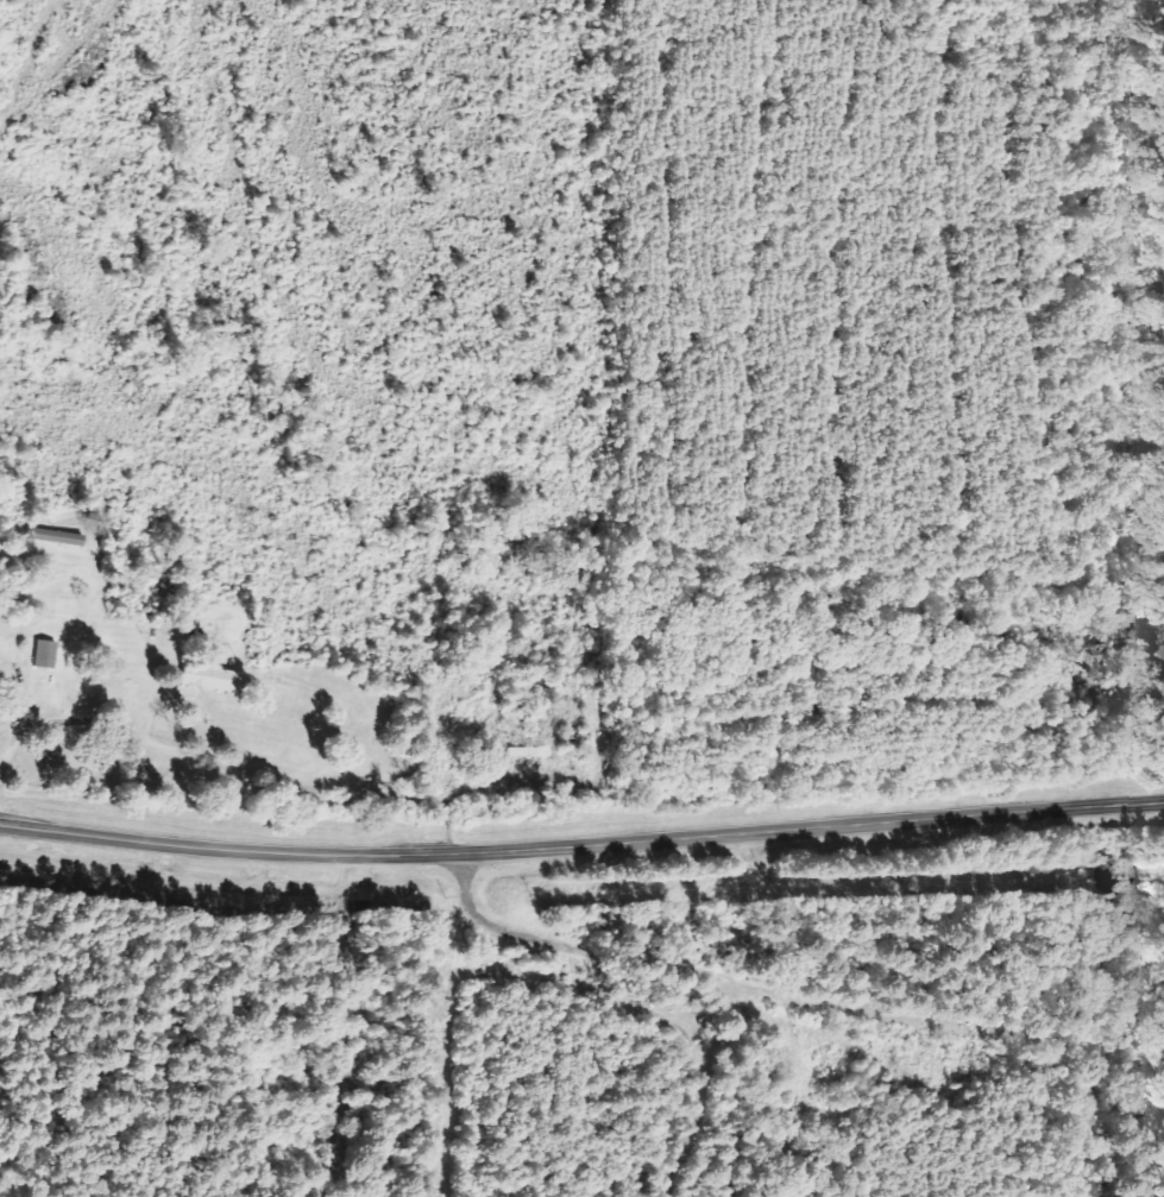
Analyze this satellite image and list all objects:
building: (40, 655)
building: (203, 679)
road: (581, 845)
road: (784, 995)
road: (446, 1047)

